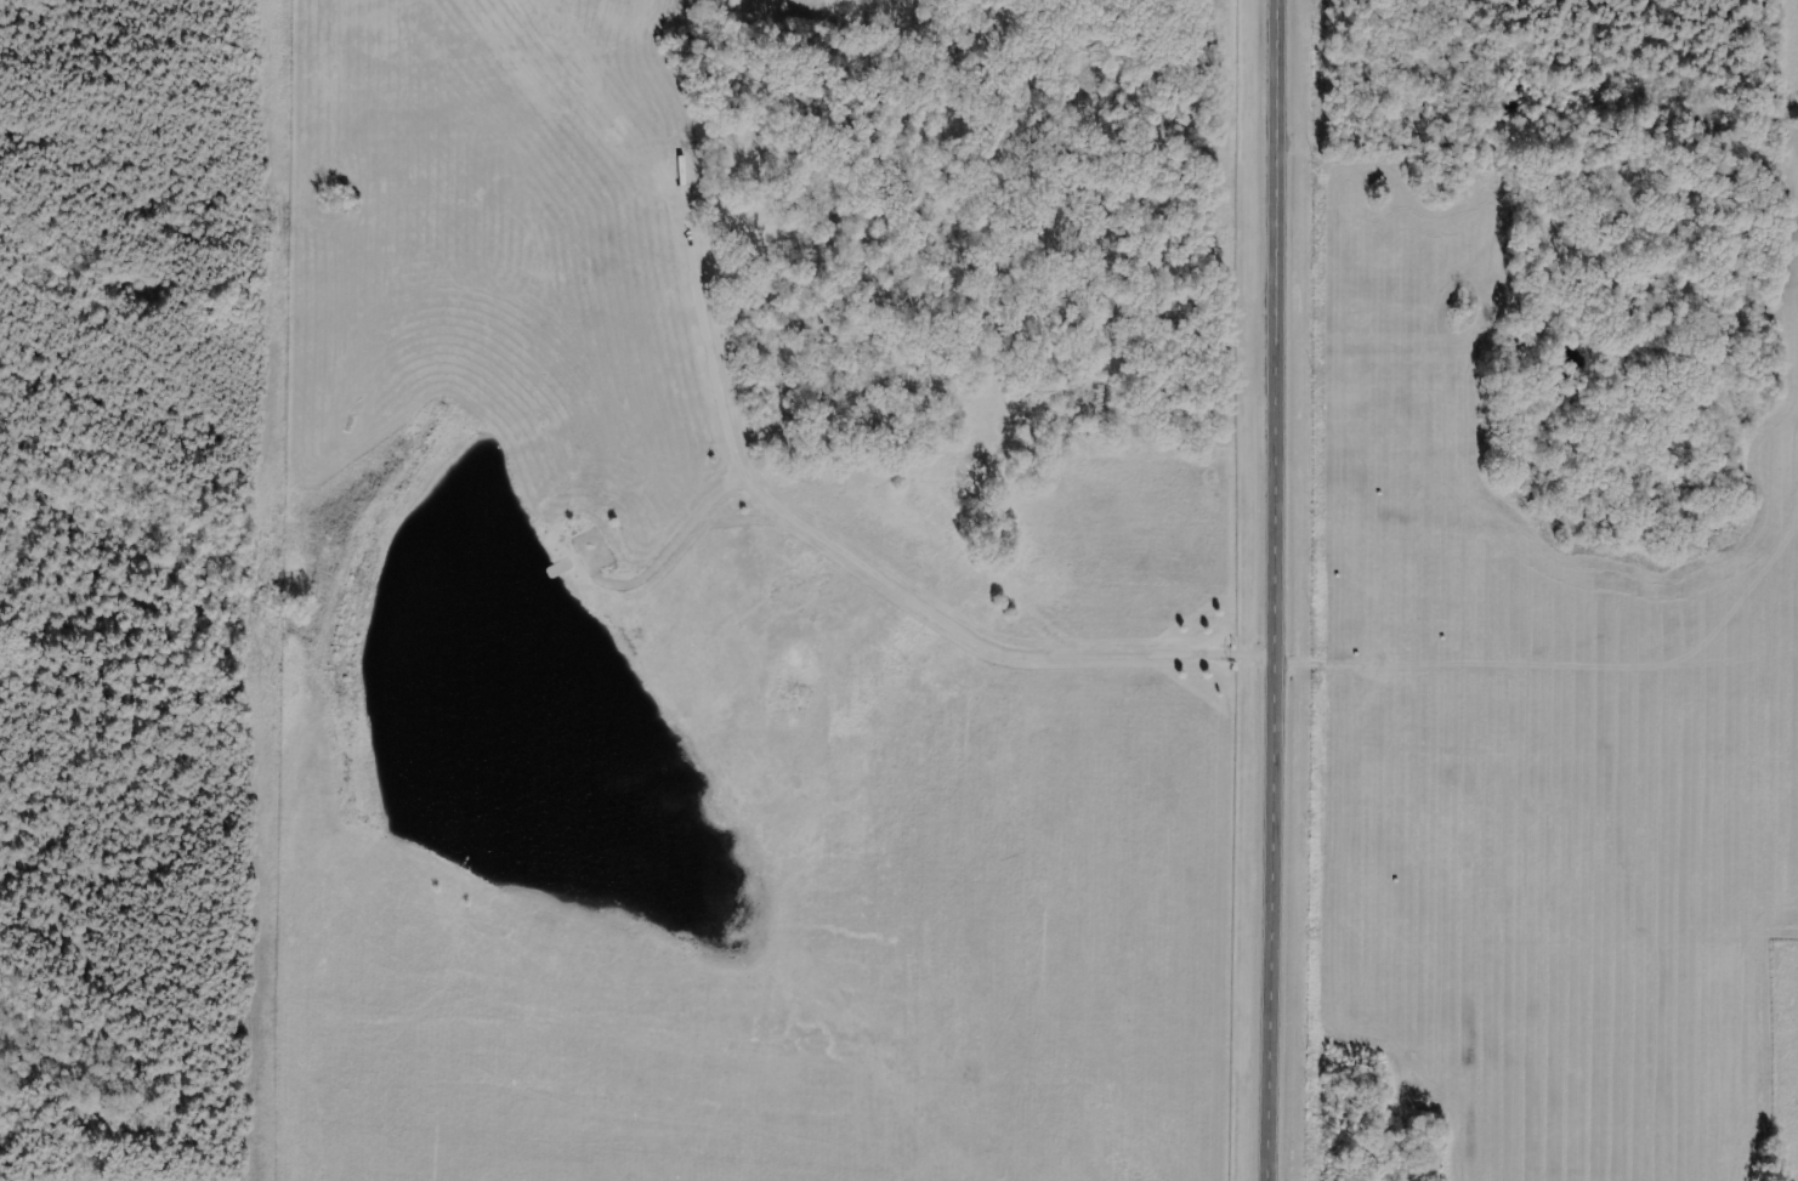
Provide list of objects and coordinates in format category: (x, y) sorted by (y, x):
road: (1267, 590)

